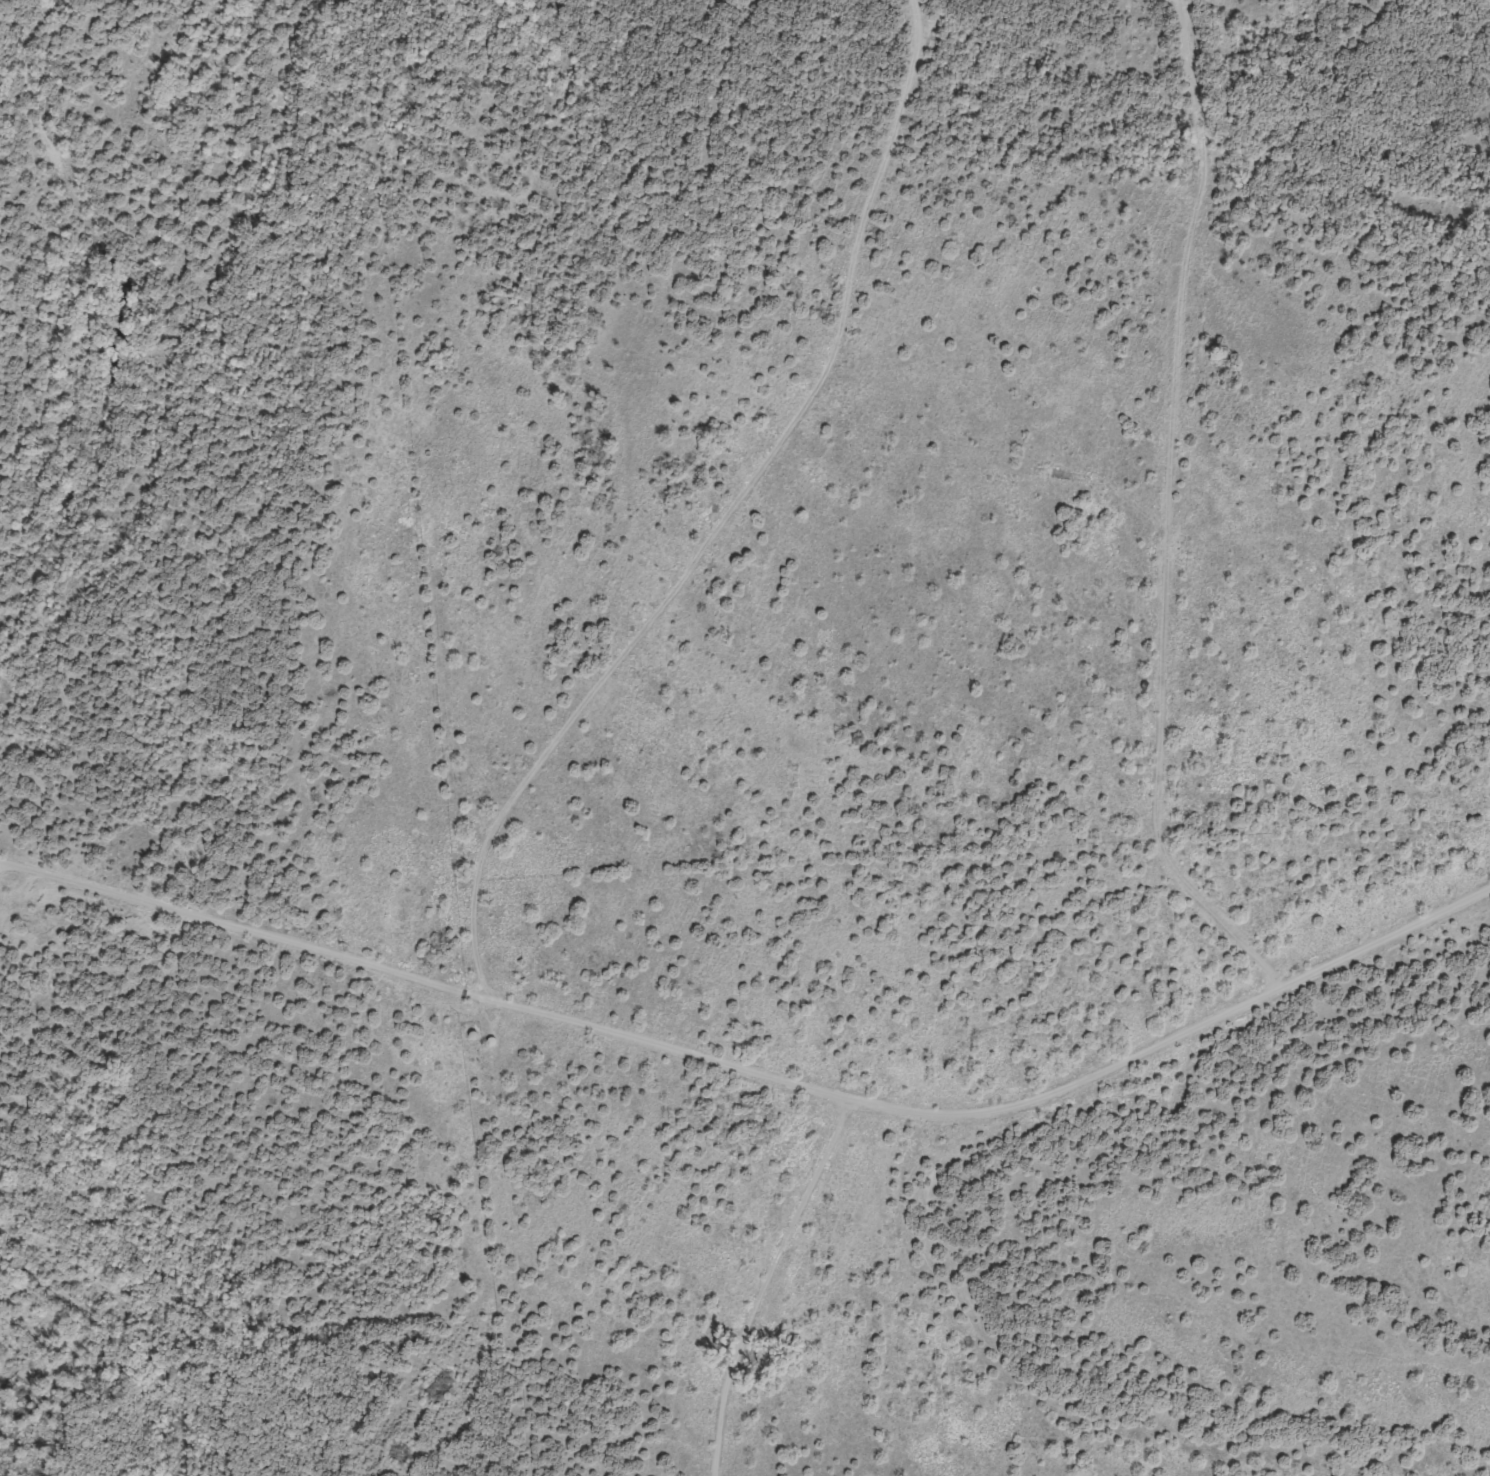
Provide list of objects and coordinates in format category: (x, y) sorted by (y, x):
road: (1166, 526)
road: (556, 737)
road: (757, 1067)

